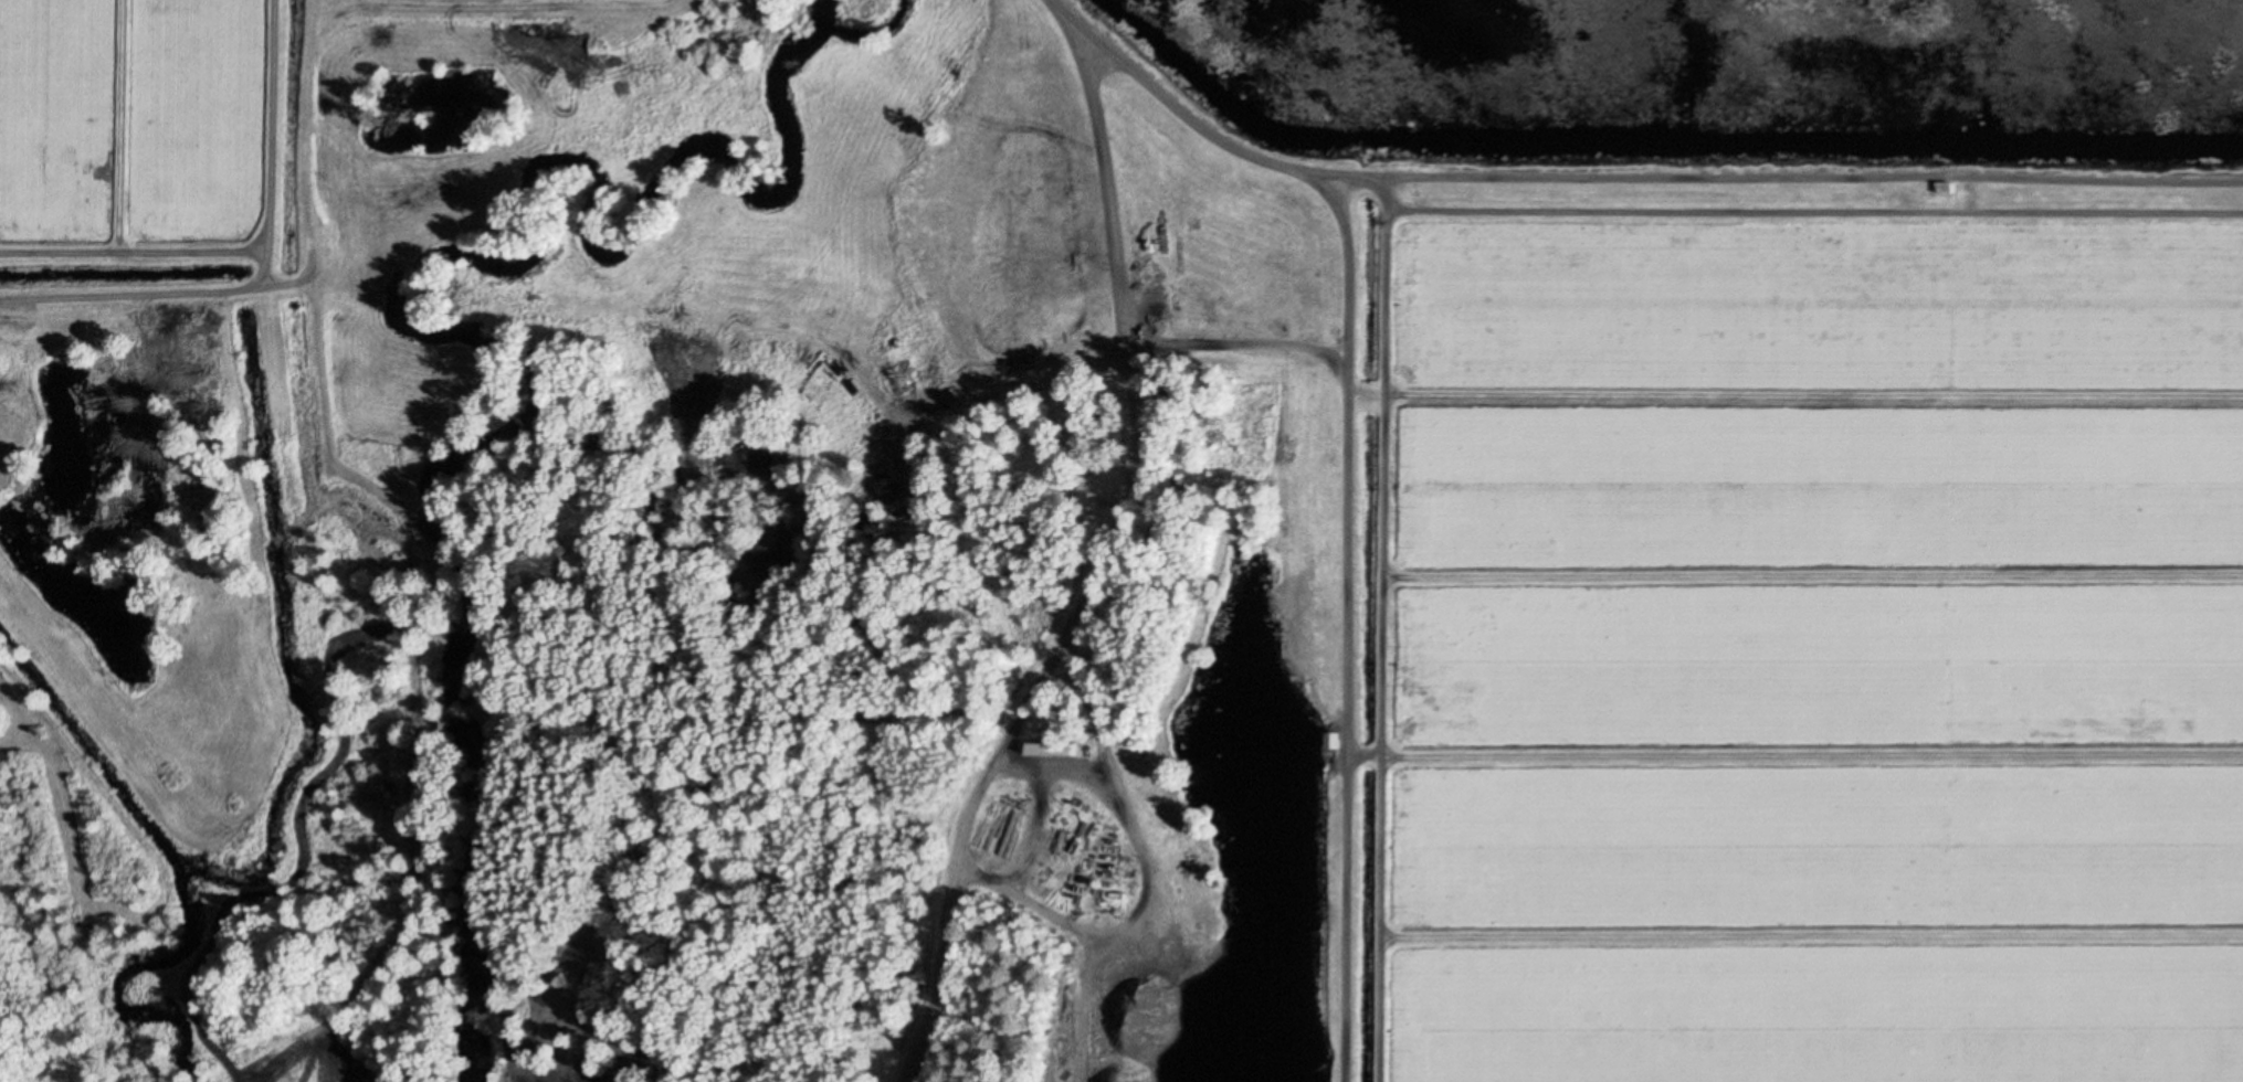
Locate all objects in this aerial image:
crop: (140, 125)
building: (1946, 188)
crop: (1802, 623)

